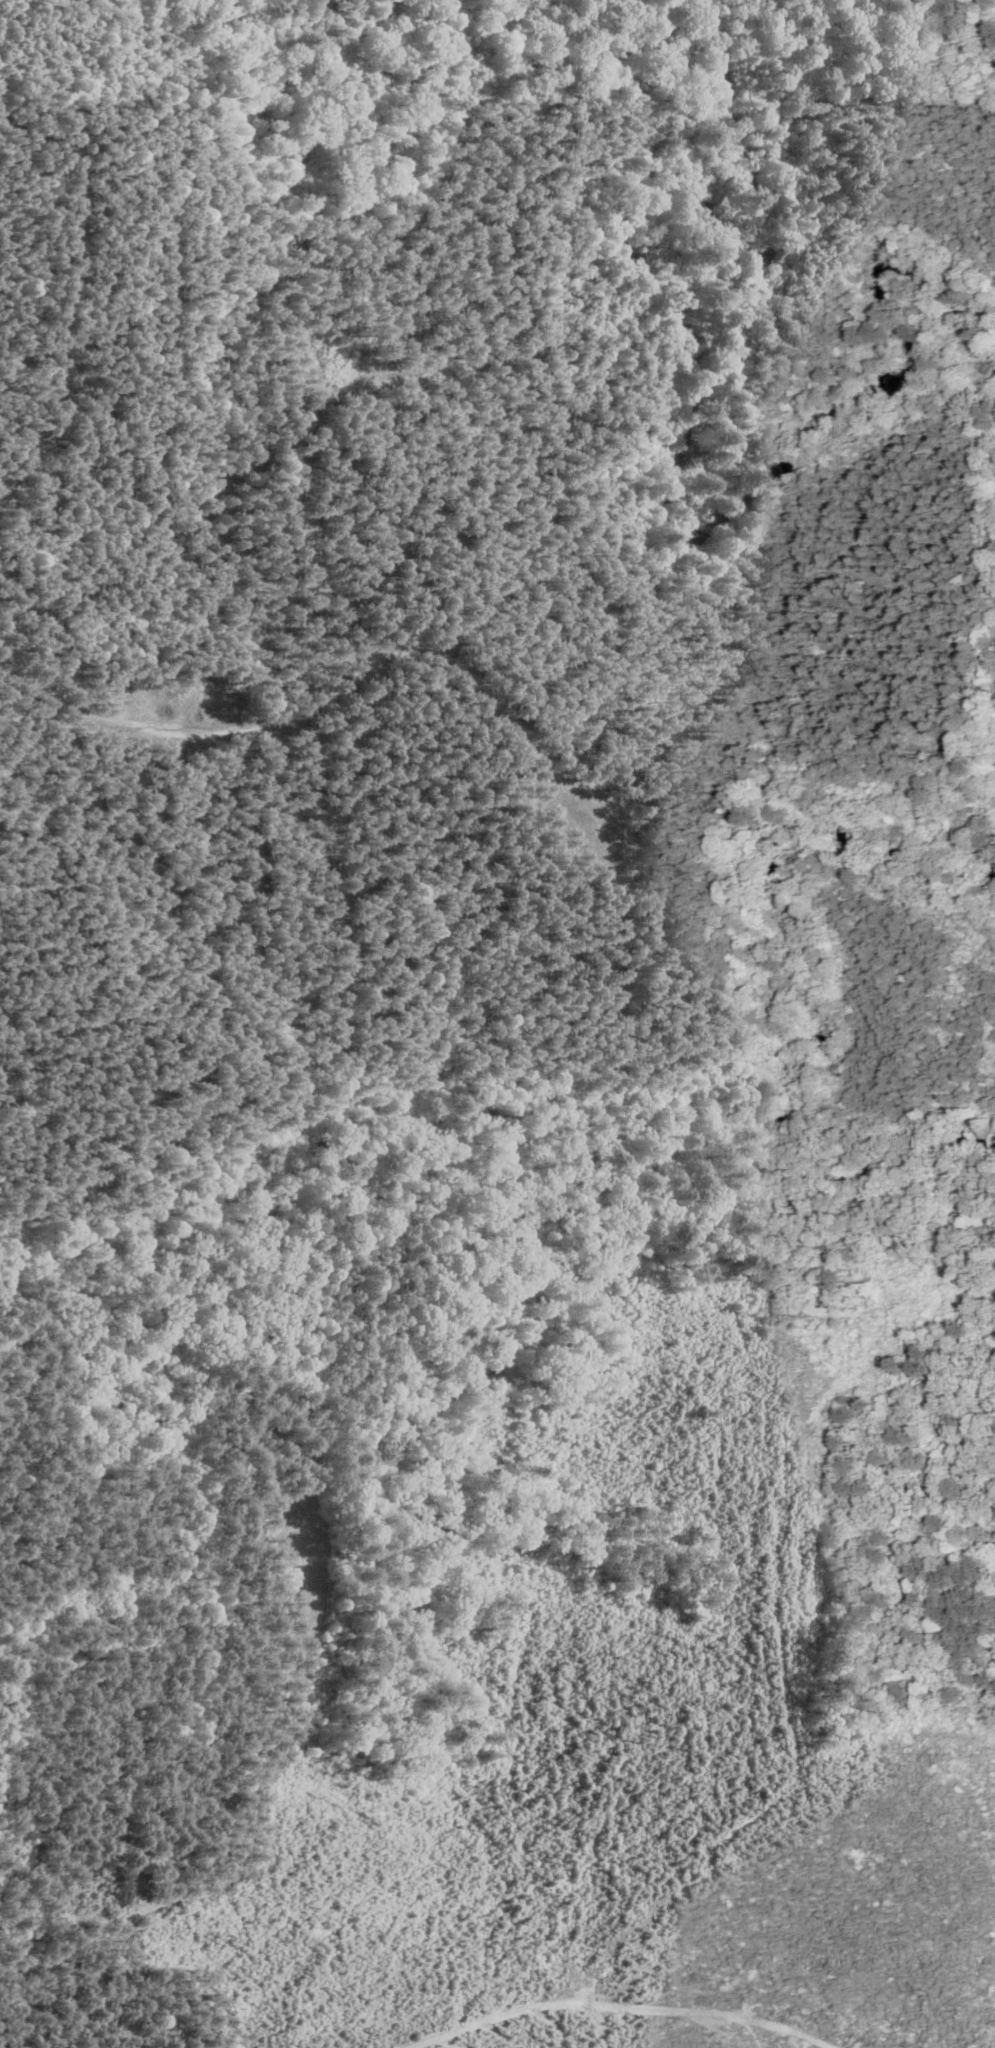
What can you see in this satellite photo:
road: (526, 2004)

